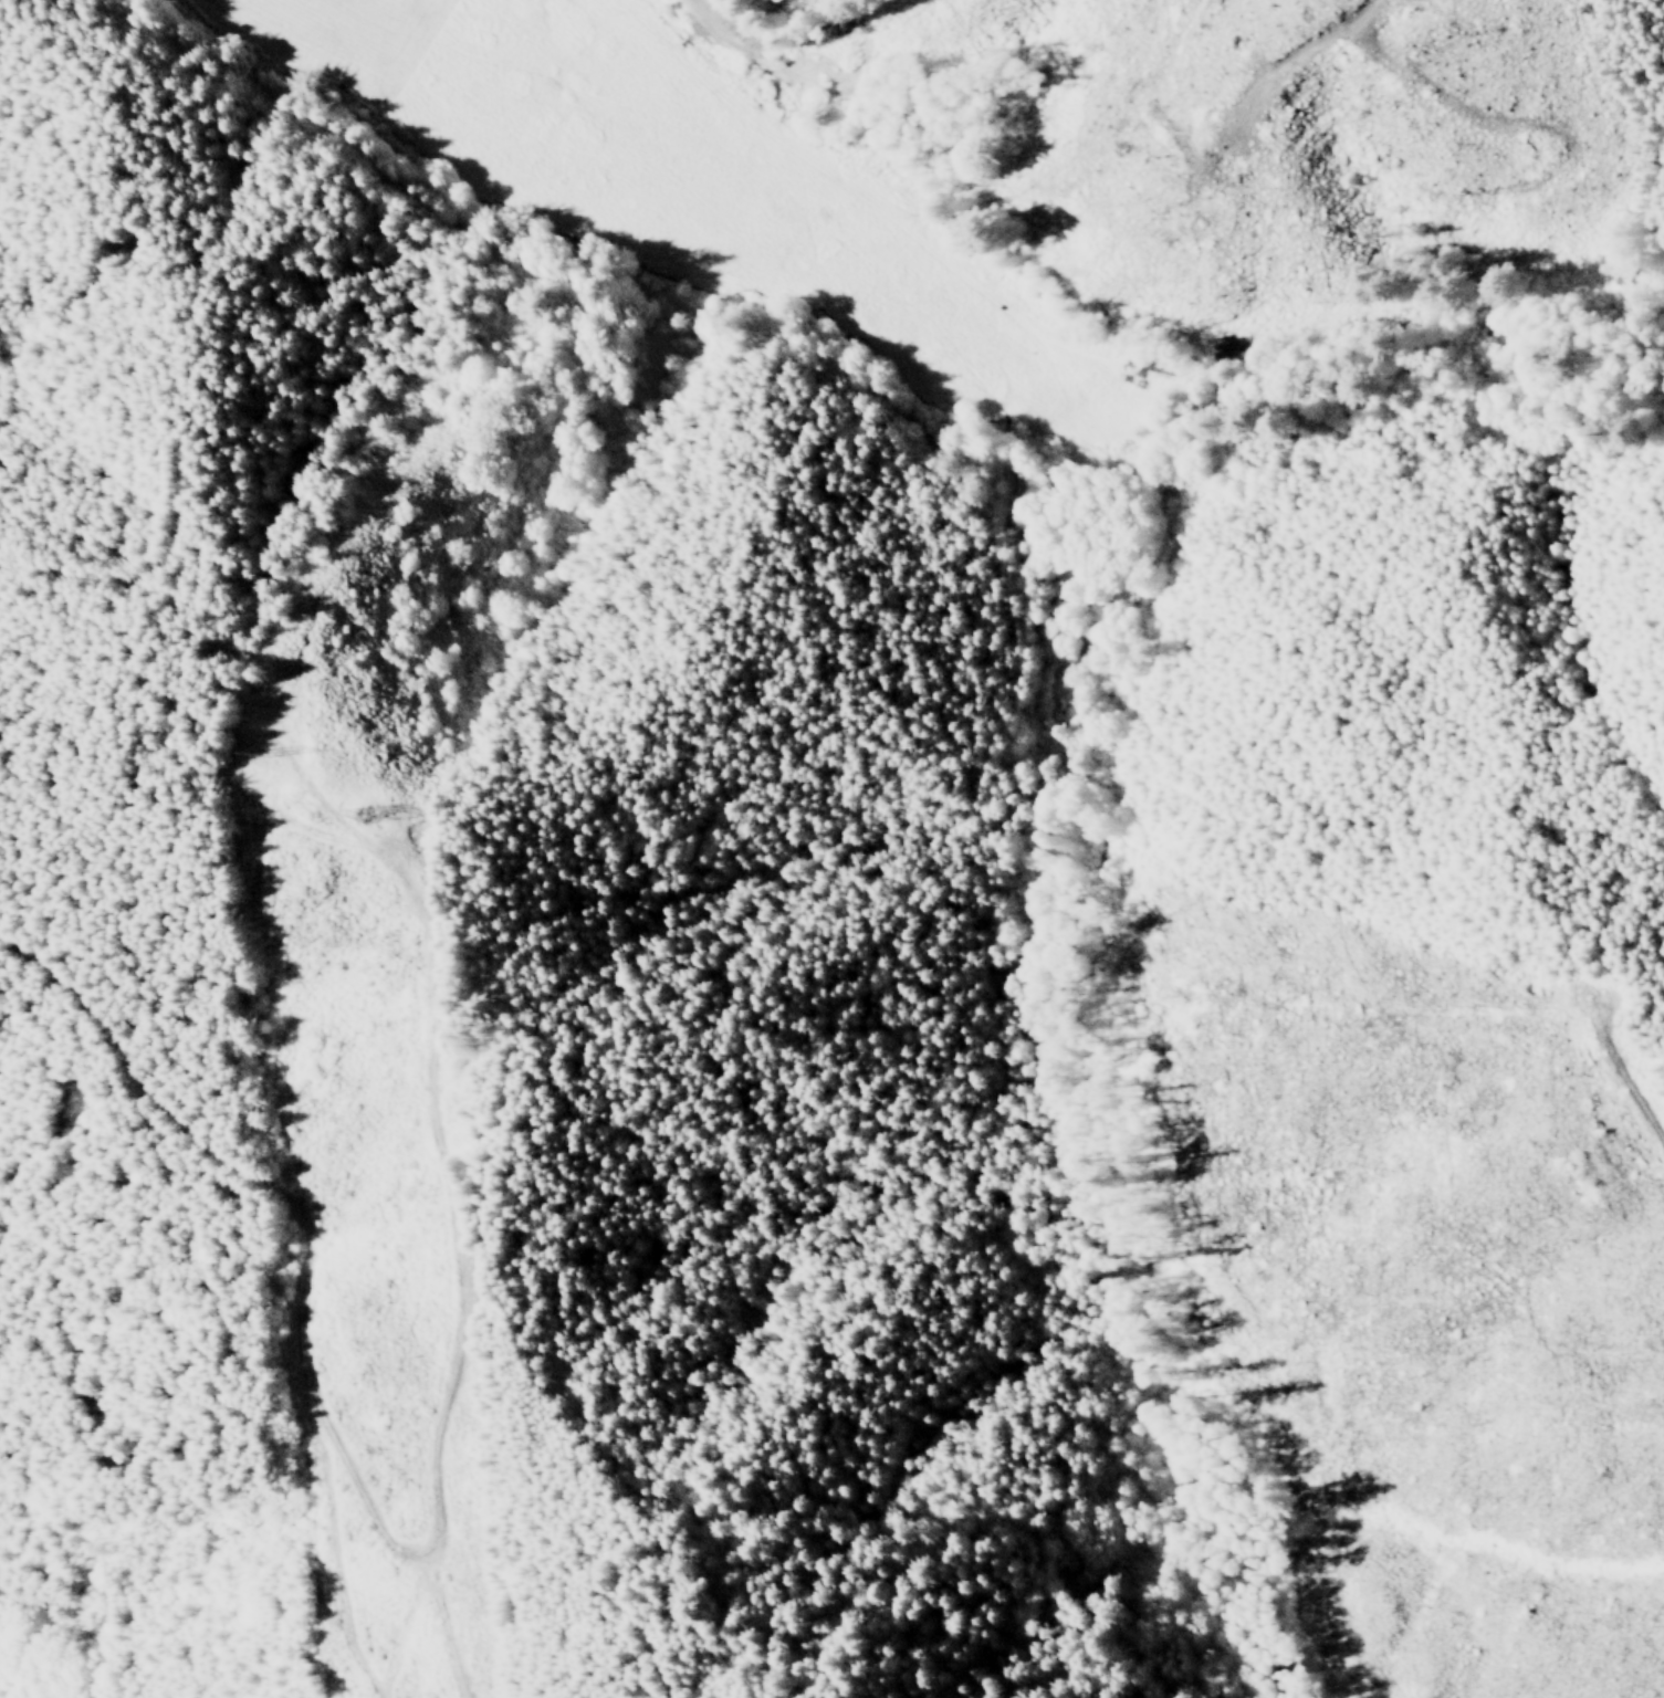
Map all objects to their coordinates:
power tower: (259, 748)
power tower: (356, 815)

